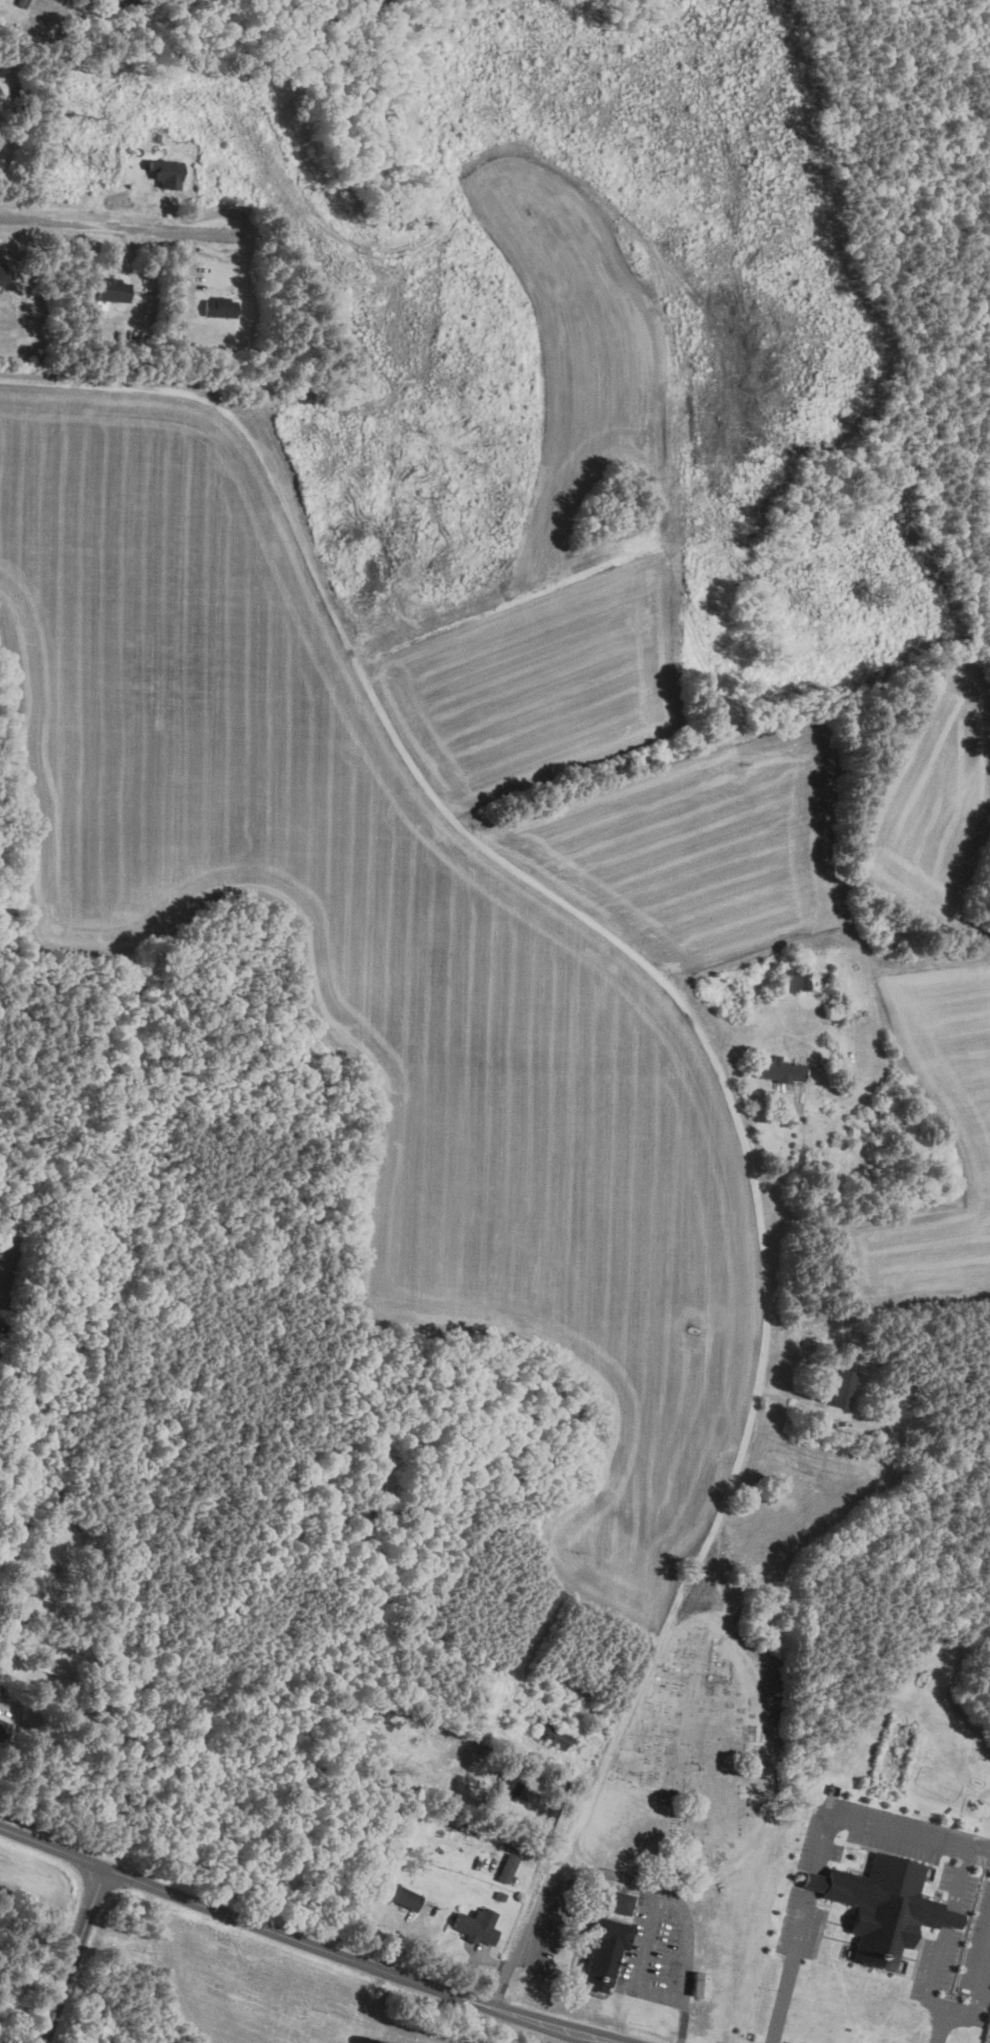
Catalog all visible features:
building: (21, 2)
building: (167, 172)
road: (122, 225)
building: (1, 273)
building: (112, 289)
building: (220, 306)
building: (794, 978)
building: (779, 1069)
road: (794, 1186)
building: (844, 1387)
road: (664, 1635)
building: (3, 1728)
building: (552, 1734)
building: (537, 1782)
building: (507, 1784)
road: (886, 1829)
building: (507, 1866)
road: (961, 1879)
road: (813, 1880)
building: (402, 1895)
building: (873, 1898)
building: (618, 1901)
road: (679, 1902)
road: (952, 1917)
building: (476, 1925)
road: (306, 1944)
building: (604, 1952)
road: (76, 1954)
road: (639, 1962)
road: (791, 1966)
road: (934, 1975)
road: (974, 1997)

